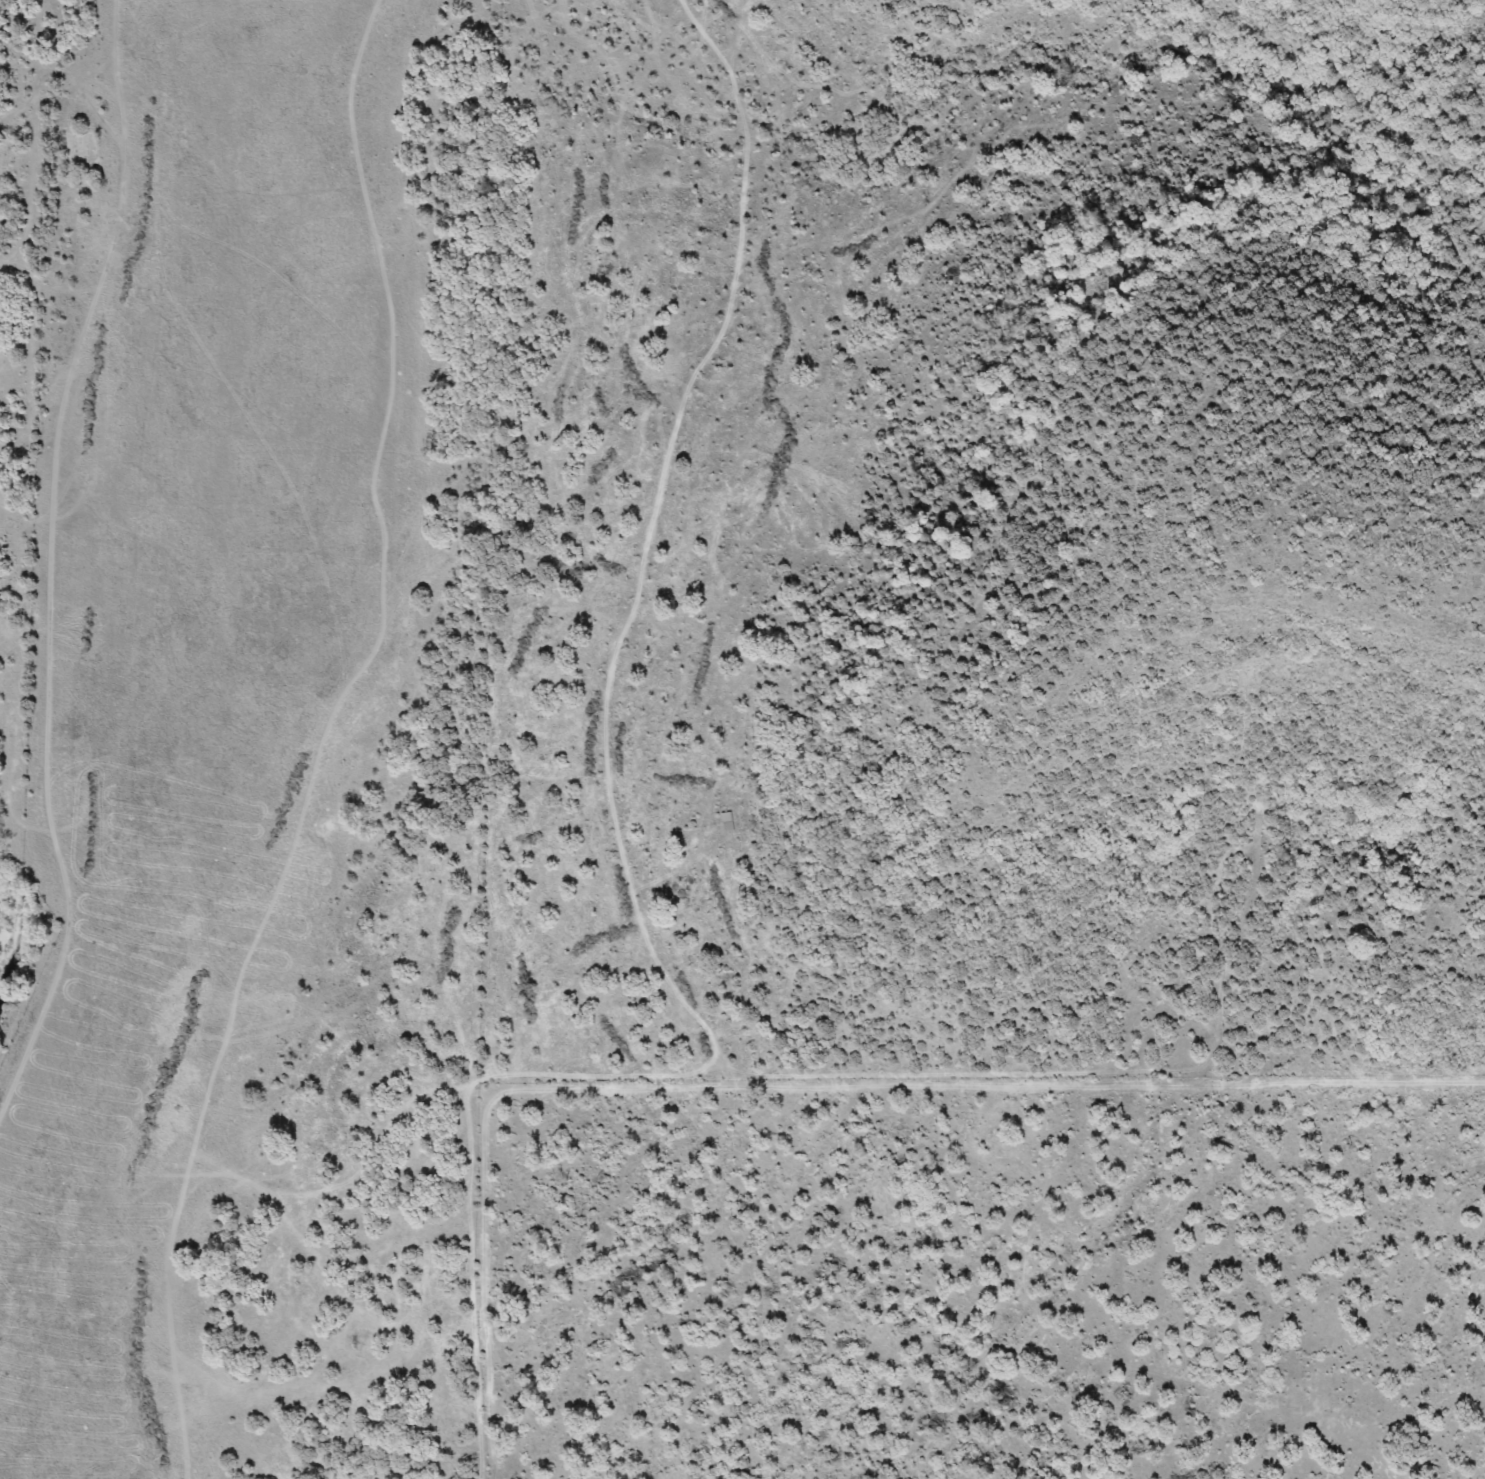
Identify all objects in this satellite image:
building: (727, 821)
river: (11, 921)

